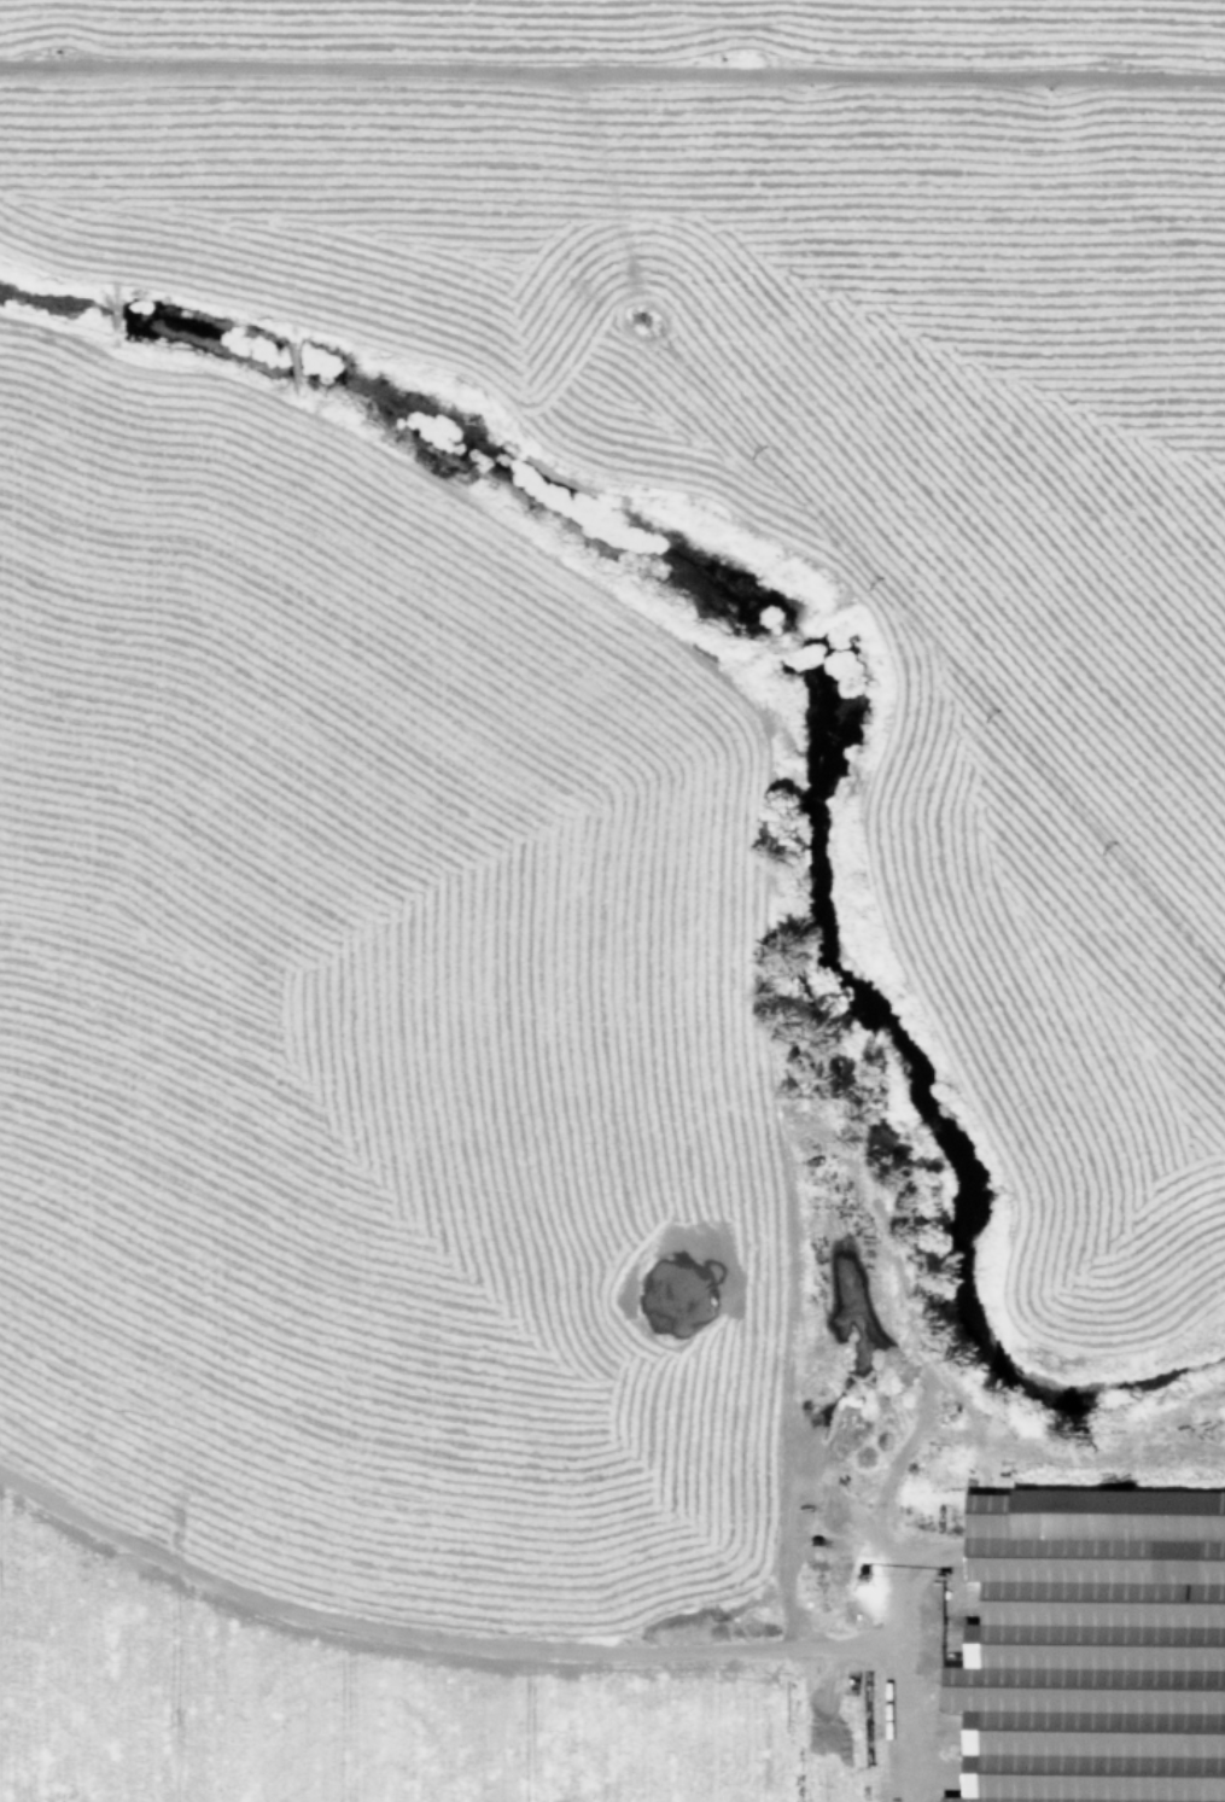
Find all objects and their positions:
road: (612, 91)
crop: (612, 900)
road: (508, 1656)

